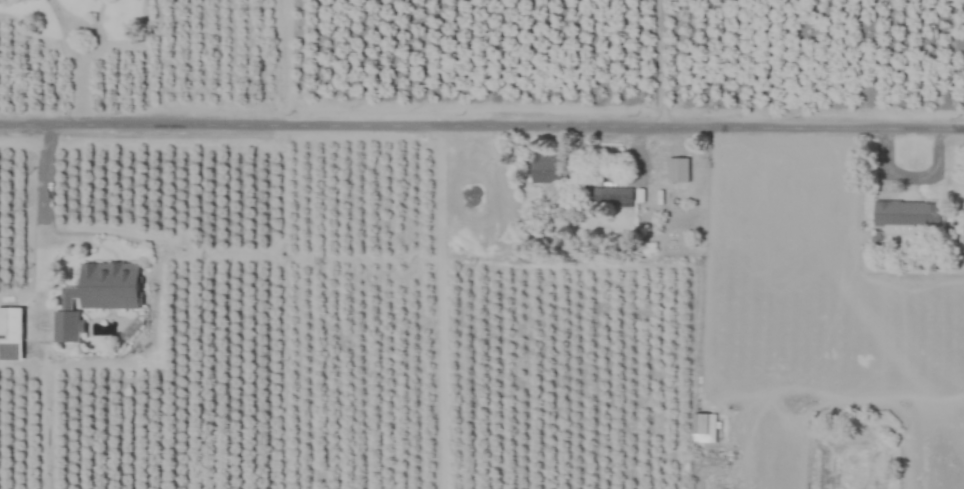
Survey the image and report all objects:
road: (67, 18)
road: (657, 62)
road: (81, 80)
road: (481, 124)
building: (548, 168)
building: (676, 169)
road: (45, 191)
building: (609, 196)
building: (908, 216)
building: (110, 285)
road: (439, 306)
building: (11, 323)
building: (66, 326)
building: (704, 427)

